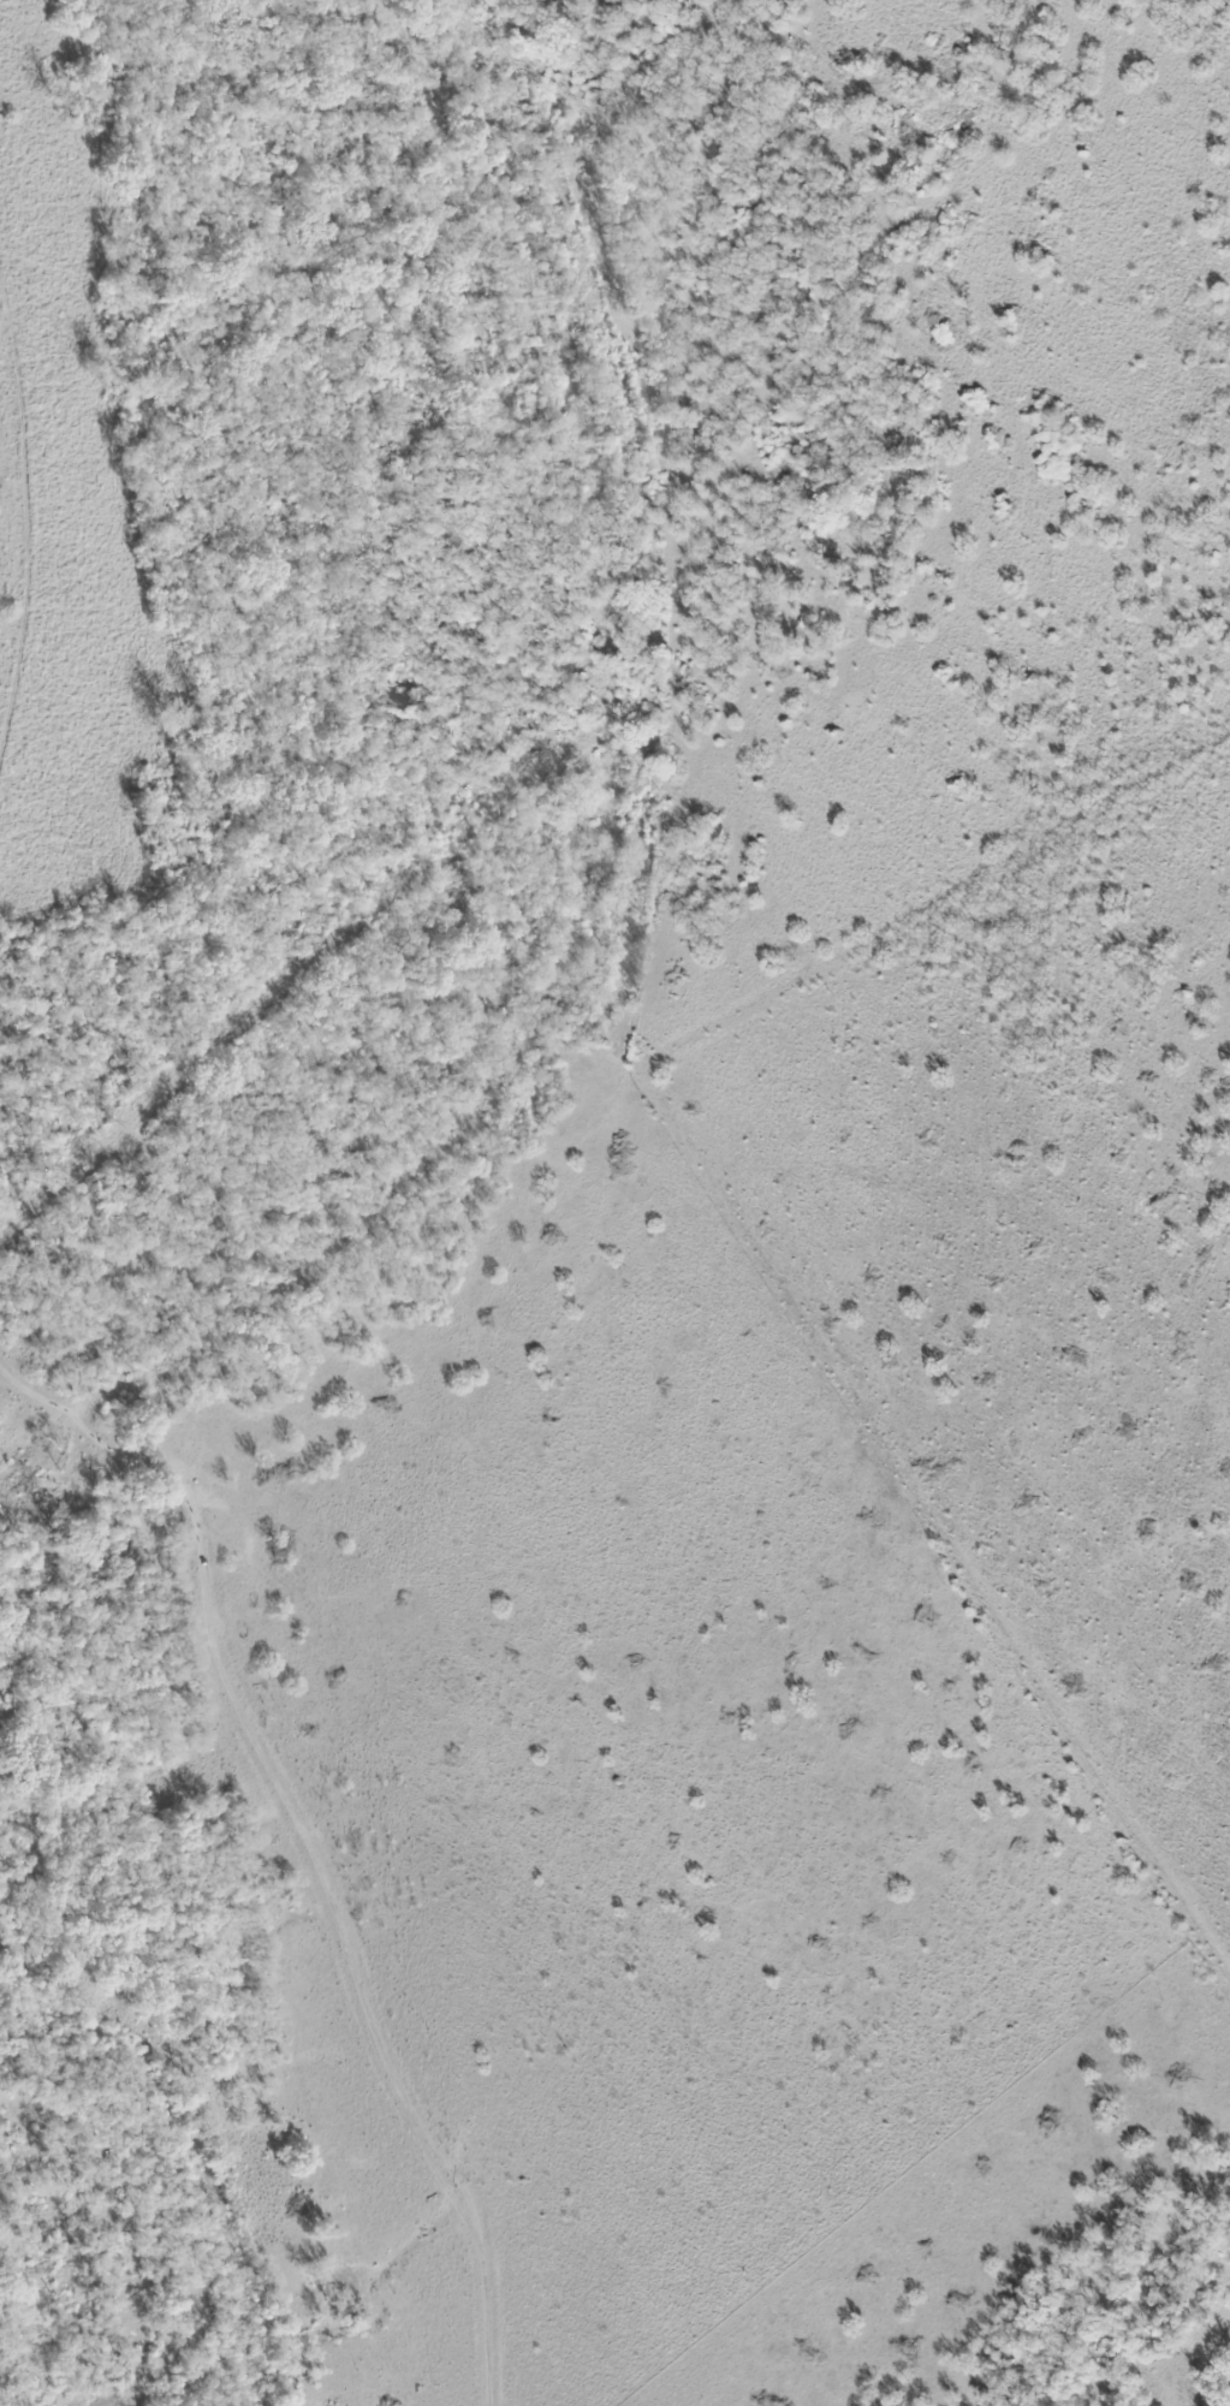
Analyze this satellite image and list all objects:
road: (38, 495)
road: (310, 1834)

